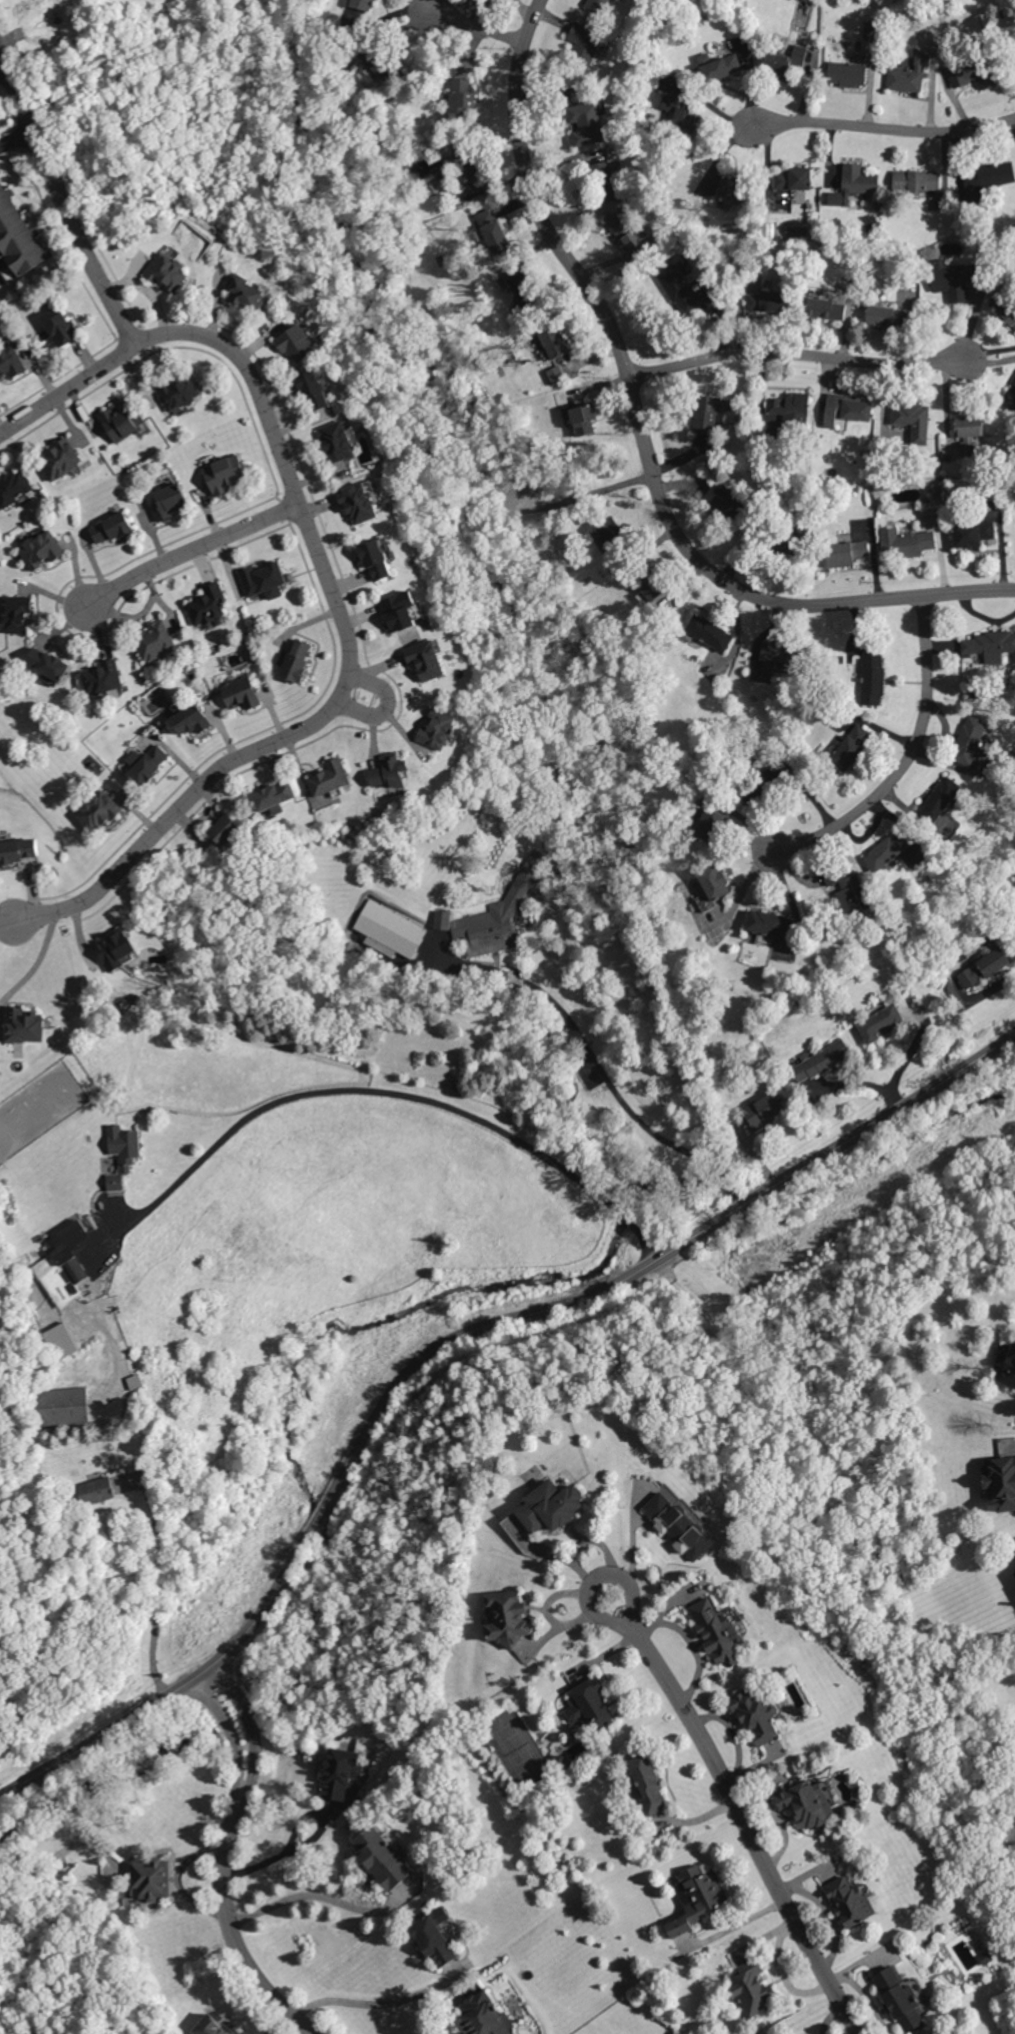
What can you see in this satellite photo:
building: (361, 4)
building: (600, 5)
water tower: (40, 26)
road: (480, 27)
building: (871, 29)
building: (585, 42)
building: (784, 60)
building: (719, 66)
road: (3, 70)
building: (846, 73)
building: (909, 73)
building: (972, 74)
building: (462, 94)
building: (679, 112)
building: (586, 123)
road: (886, 134)
road: (16, 136)
building: (467, 164)
building: (0, 171)
building: (989, 175)
building: (916, 180)
building: (854, 184)
building: (722, 186)
building: (790, 187)
road: (61, 200)
building: (493, 231)
building: (630, 234)
building: (17, 241)
building: (168, 269)
building: (950, 281)
building: (524, 288)
building: (245, 292)
building: (766, 300)
building: (826, 308)
building: (887, 316)
building: (58, 325)
building: (553, 341)
building: (297, 343)
road: (796, 355)
building: (10, 362)
building: (555, 375)
building: (314, 389)
building: (179, 392)
building: (1010, 397)
building: (789, 407)
building: (846, 409)
building: (706, 414)
building: (584, 418)
building: (913, 419)
building: (119, 422)
building: (968, 435)
road: (640, 438)
building: (337, 441)
building: (59, 459)
building: (224, 473)
building: (14, 487)
building: (169, 500)
building: (725, 500)
building: (359, 503)
building: (111, 527)
building: (609, 533)
building: (973, 533)
building: (795, 540)
building: (905, 542)
road: (190, 545)
building: (41, 549)
building: (846, 552)
building: (376, 559)
building: (264, 580)
road: (333, 581)
building: (648, 590)
building: (206, 604)
building: (399, 611)
building: (15, 613)
building: (709, 632)
building: (155, 641)
building: (990, 645)
building: (781, 651)
building: (297, 660)
building: (427, 660)
building: (47, 663)
building: (872, 676)
building: (101, 679)
building: (240, 692)
road: (390, 702)
building: (190, 719)
building: (438, 729)
building: (969, 740)
building: (850, 747)
road: (905, 760)
building: (144, 763)
building: (389, 771)
building: (329, 777)
building: (760, 782)
building: (273, 797)
building: (939, 798)
building: (98, 811)
building: (710, 823)
building: (224, 829)
building: (17, 850)
building: (886, 851)
building: (714, 881)
building: (849, 891)
building: (495, 914)
road: (7, 916)
building: (388, 930)
building: (774, 931)
road: (33, 960)
building: (984, 967)
building: (878, 1022)
building: (25, 1025)
road: (907, 1054)
building: (821, 1061)
road: (604, 1075)
road: (392, 1093)
building: (763, 1110)
building: (122, 1153)
building: (64, 1265)
road: (582, 1299)
building: (62, 1340)
building: (1008, 1367)
building: (135, 1381)
building: (62, 1405)
building: (1000, 1482)
building: (96, 1490)
building: (551, 1506)
building: (680, 1526)
road: (633, 1545)
road: (158, 1587)
building: (508, 1618)
building: (715, 1631)
building: (589, 1704)
building: (757, 1715)
road: (123, 1723)
building: (343, 1775)
building: (648, 1786)
building: (806, 1803)
road: (743, 1814)
road: (272, 1857)
building: (384, 1859)
road: (225, 1861)
building: (153, 1880)
road: (316, 1894)
building: (696, 1897)
building: (849, 1901)
building: (435, 1942)
building: (751, 1988)
building: (897, 1991)
park: (176, 1997)
road: (374, 2002)
building: (485, 2017)
building: (213, 2027)

